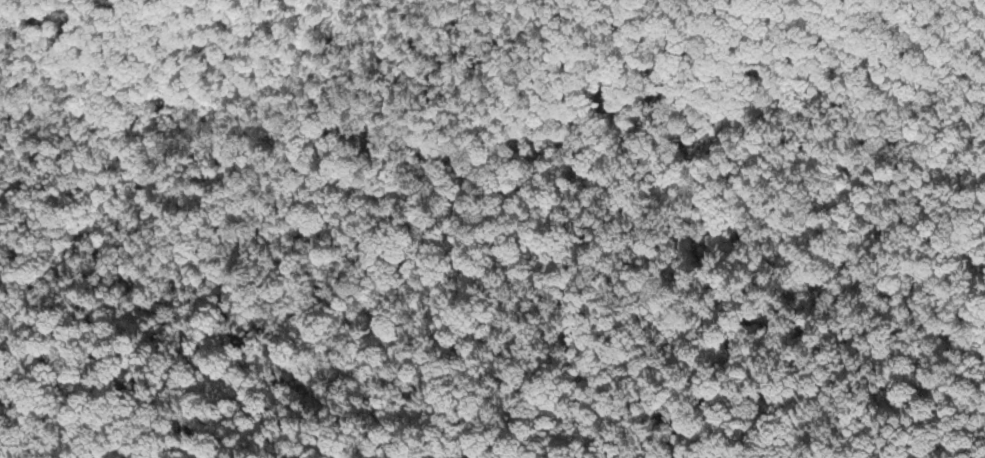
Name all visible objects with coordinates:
road: (847, 402)

